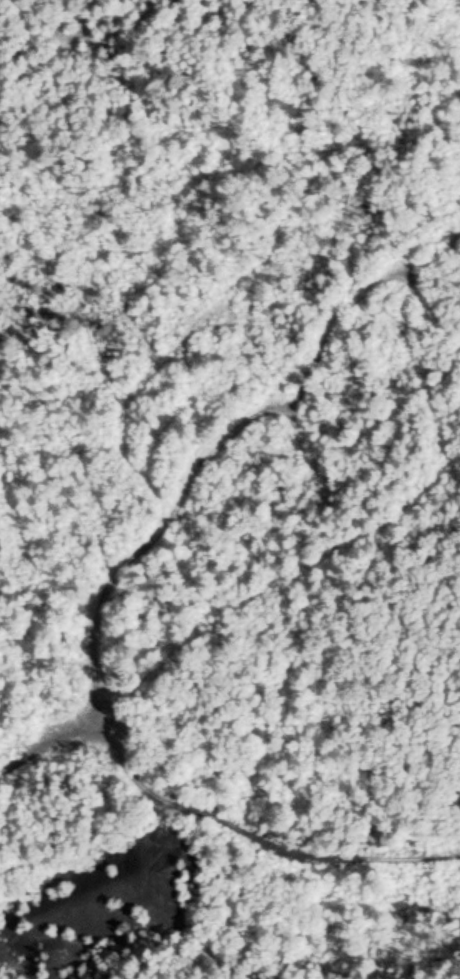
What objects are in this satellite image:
road: (54, 743)
road: (302, 851)

